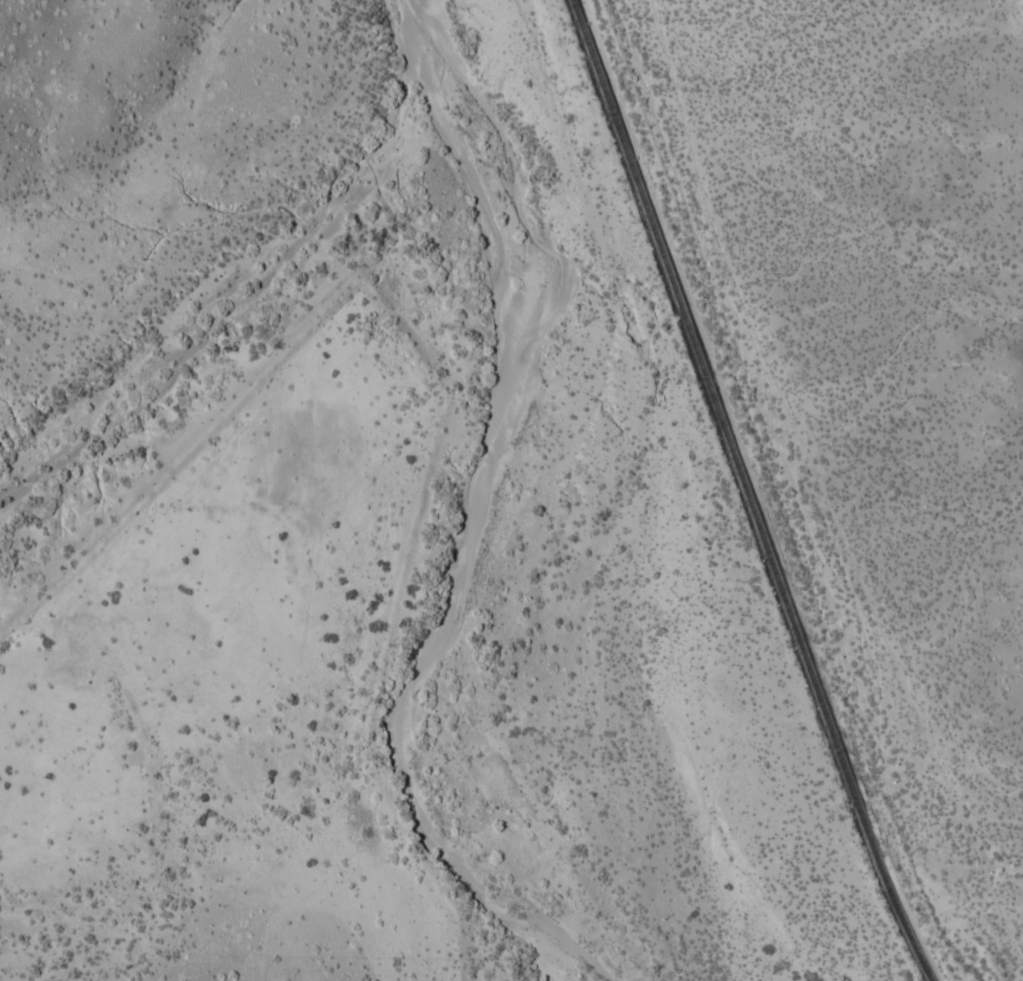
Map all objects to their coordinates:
railway: (746, 492)

